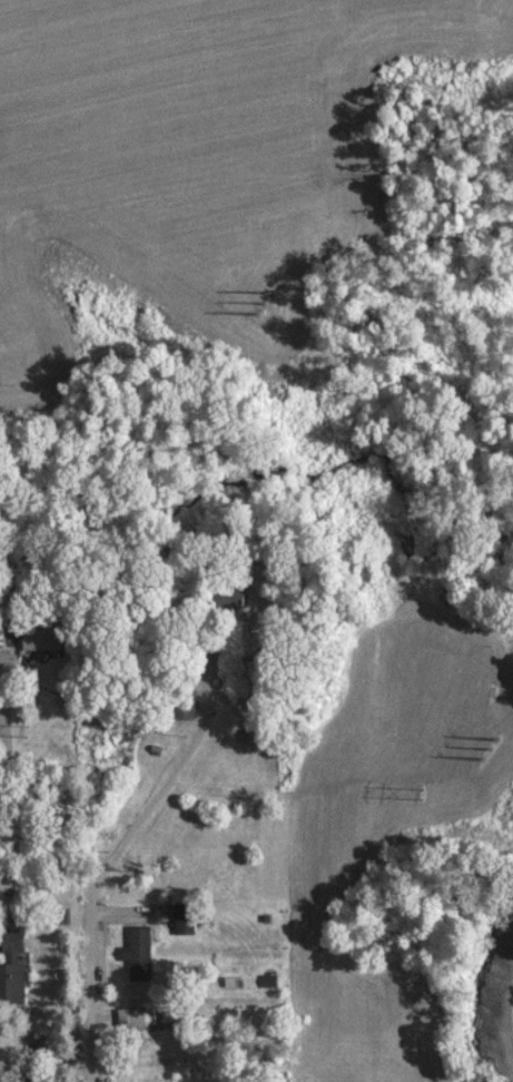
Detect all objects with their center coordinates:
building: (42, 639)
building: (7, 661)
building: (186, 708)
road: (102, 873)
building: (186, 921)
building: (139, 950)
building: (13, 966)
building: (131, 1017)

